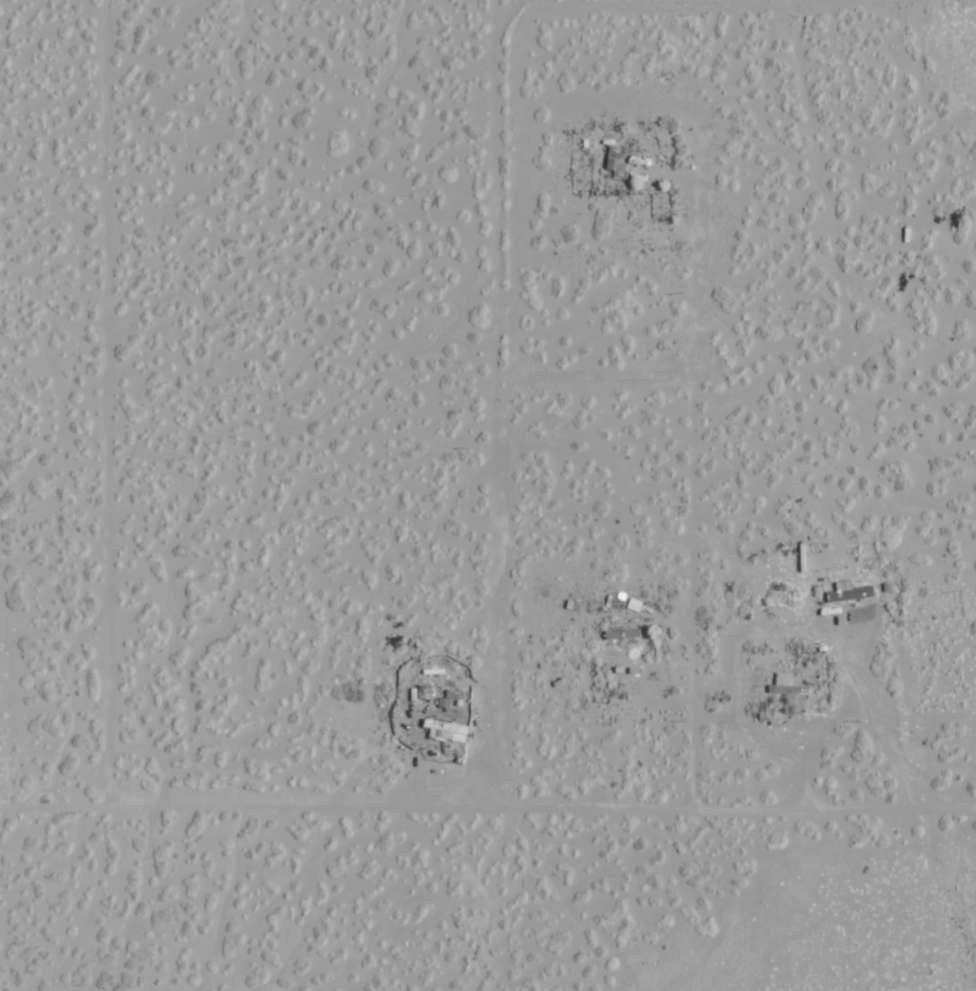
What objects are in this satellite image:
road: (339, 374)
road: (860, 495)
road: (924, 558)
road: (46, 579)
road: (625, 600)
road: (438, 725)
building: (447, 730)
road: (716, 926)

